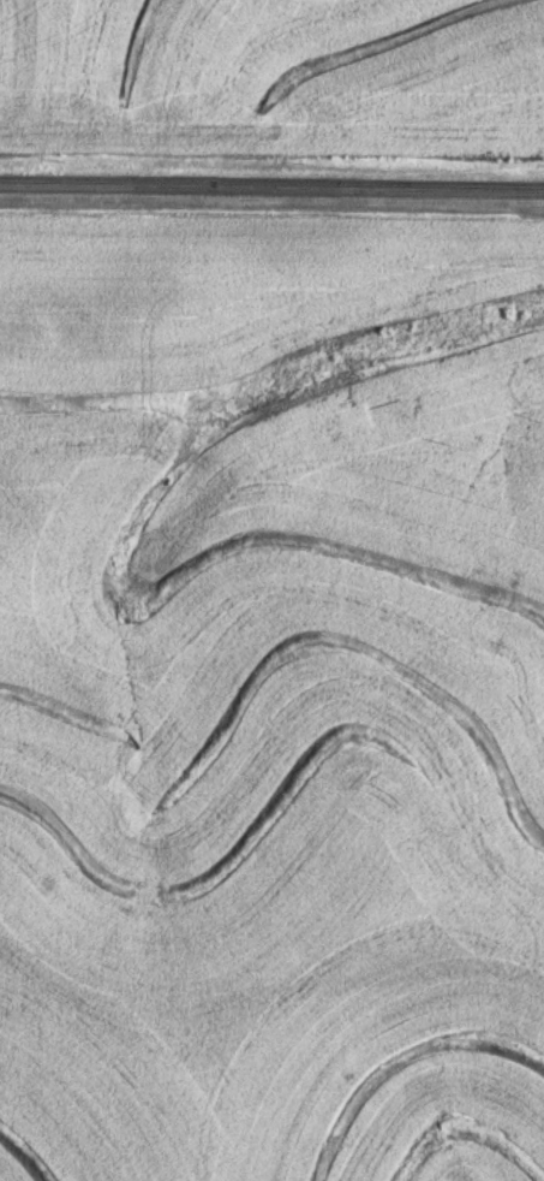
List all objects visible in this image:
road: (271, 188)

